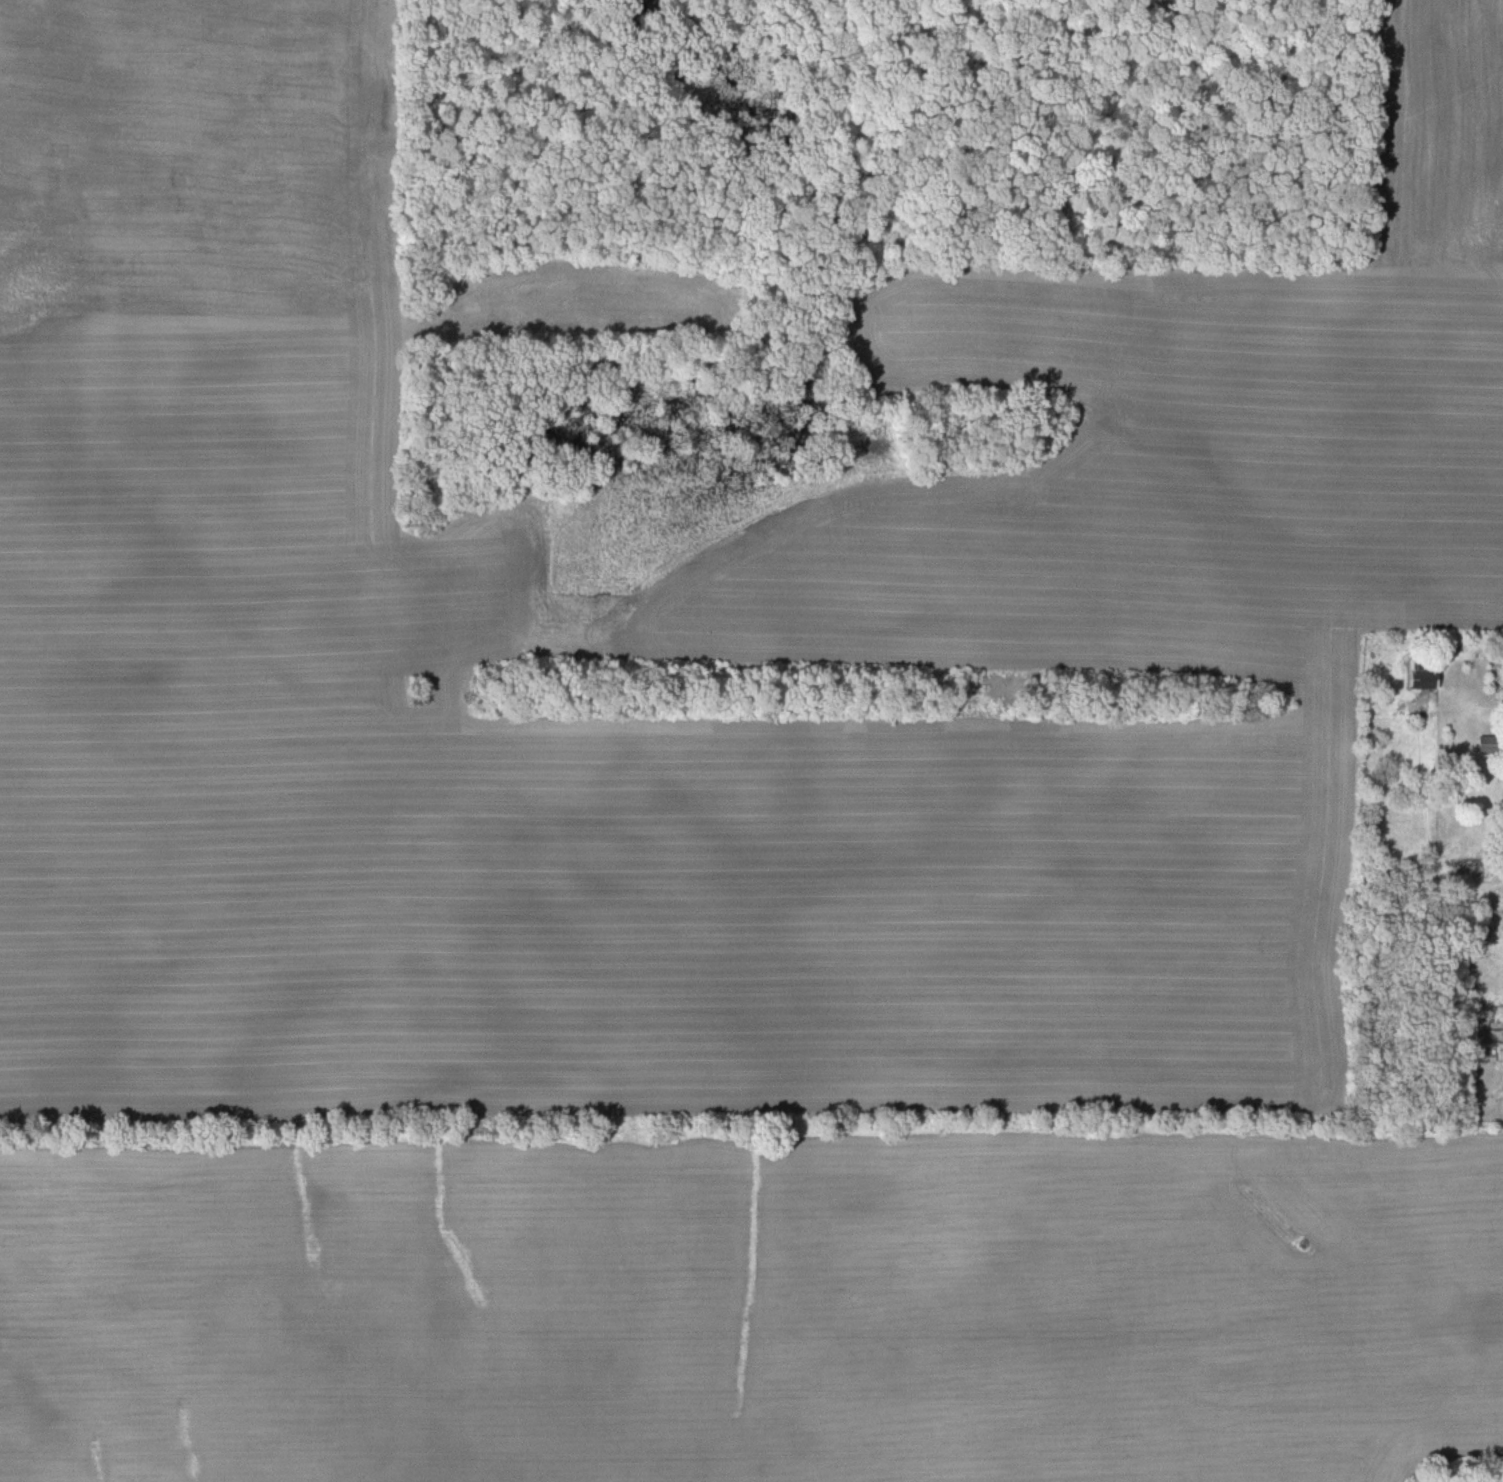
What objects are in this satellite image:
building: (1418, 673)
building: (1488, 744)

